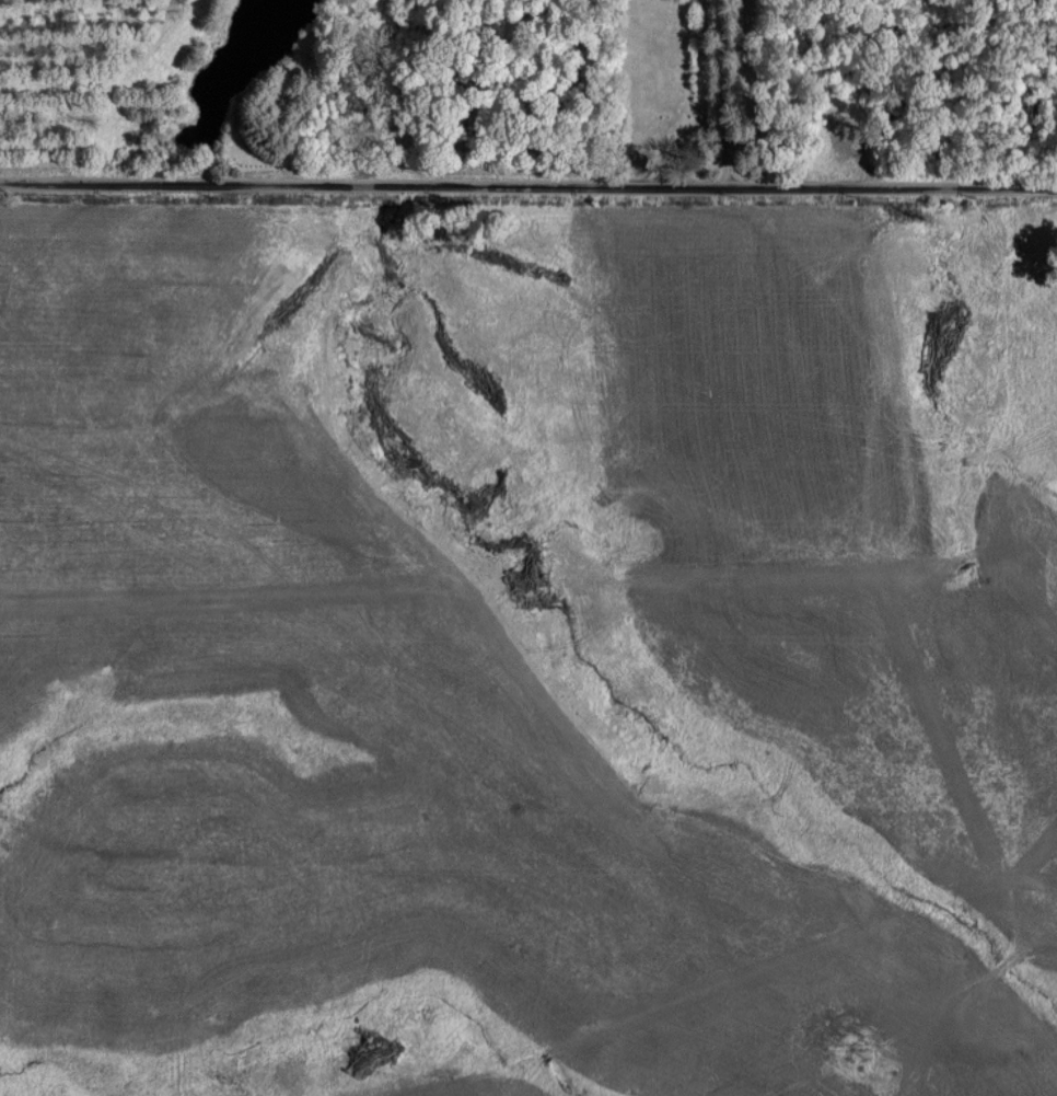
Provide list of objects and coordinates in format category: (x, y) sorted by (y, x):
road: (528, 183)
building: (988, 1012)

